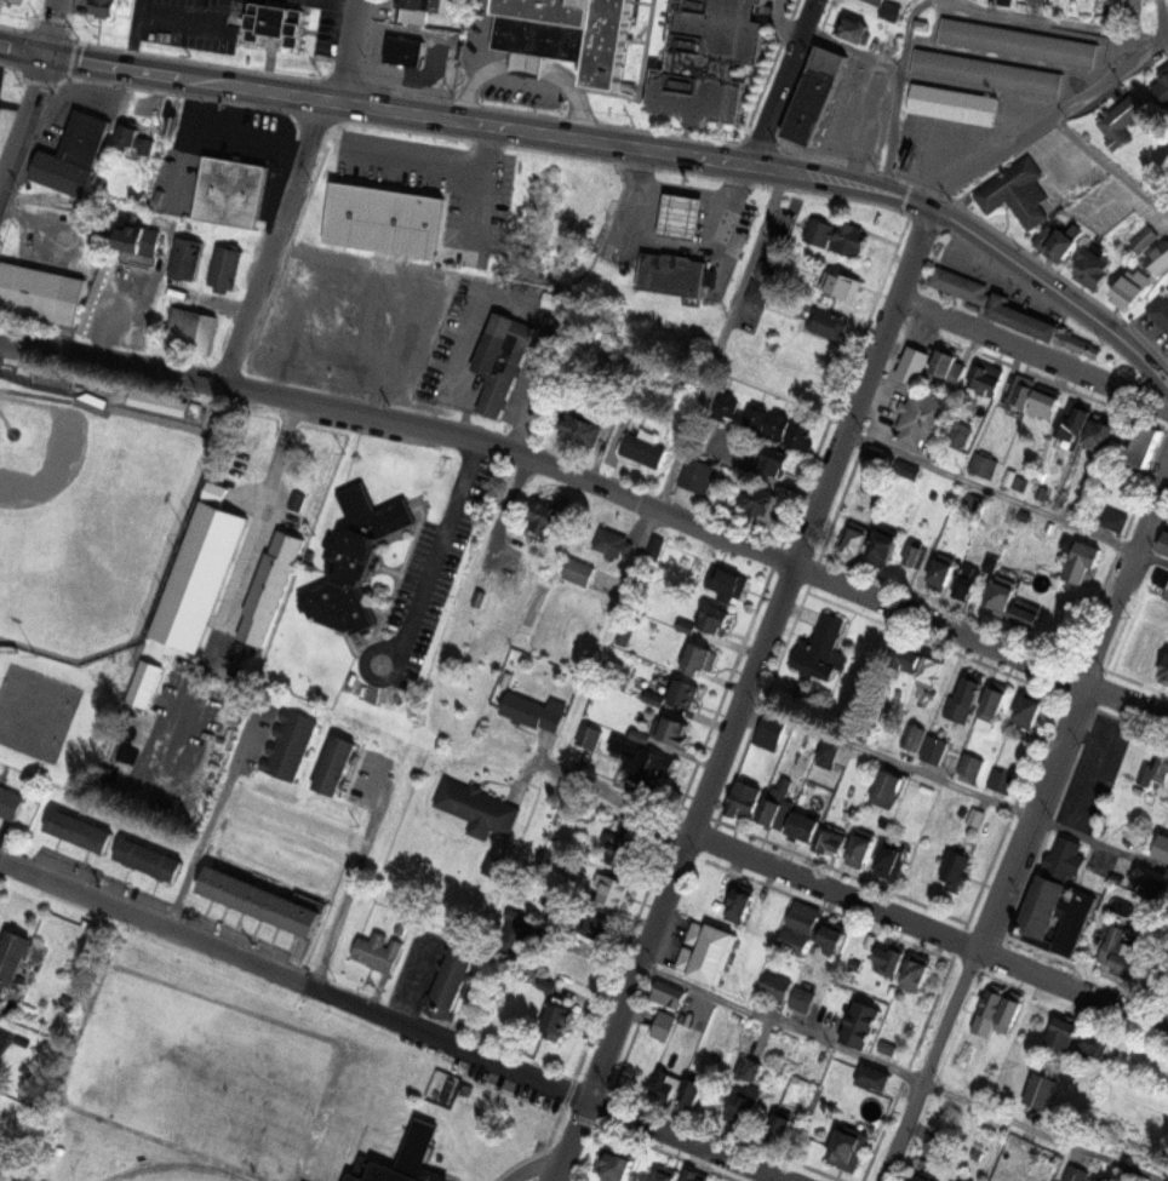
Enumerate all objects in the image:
building: (1044, 0)
parking lot: (12, 1)
building: (878, 1)
road: (935, 2)
road: (949, 2)
building: (1008, 2)
building: (104, 7)
building: (412, 11)
road: (1160, 15)
road: (190, 19)
parking lot: (187, 22)
road: (780, 23)
building: (274, 27)
building: (852, 27)
road: (51, 28)
road: (132, 34)
building: (566, 35)
building: (403, 51)
road: (349, 52)
building: (709, 59)
road: (528, 63)
building: (414, 80)
road: (640, 82)
road: (779, 82)
building: (1162, 86)
building: (818, 96)
building: (952, 104)
building: (0, 108)
building: (0, 110)
road: (23, 120)
road: (1044, 120)
building: (1120, 120)
building: (136, 138)
road: (614, 145)
building: (75, 150)
road: (1107, 166)
road: (641, 185)
building: (1017, 191)
building: (233, 194)
road: (727, 200)
building: (681, 216)
road: (681, 216)
building: (463, 217)
building: (837, 235)
building: (137, 239)
building: (1145, 239)
road: (274, 242)
building: (1057, 242)
building: (184, 259)
building: (224, 268)
building: (1094, 268)
building: (766, 270)
parking lot: (356, 273)
building: (672, 274)
building: (958, 282)
building: (843, 285)
building: (1129, 288)
building: (758, 291)
building: (40, 293)
building: (1161, 310)
building: (1023, 317)
building: (829, 322)
building: (190, 331)
road: (722, 342)
building: (1078, 342)
road: (1032, 352)
building: (502, 357)
building: (943, 361)
building: (915, 363)
building: (984, 378)
building: (1021, 389)
building: (1043, 402)
building: (756, 413)
building: (922, 418)
building: (1073, 420)
building: (778, 423)
building: (582, 425)
building: (800, 434)
building: (1104, 434)
building: (960, 437)
building: (1146, 445)
building: (646, 448)
building: (777, 460)
building: (983, 465)
building: (692, 481)
road: (596, 487)
building: (762, 498)
road: (1006, 498)
building: (543, 515)
building: (1024, 515)
park: (90, 517)
building: (1113, 518)
building: (853, 540)
building: (613, 541)
building: (1166, 543)
building: (886, 544)
park: (81, 546)
building: (356, 554)
building: (914, 555)
road: (434, 557)
building: (1082, 561)
building: (991, 562)
building: (944, 568)
building: (578, 569)
building: (199, 577)
road: (242, 577)
building: (726, 581)
building: (967, 581)
building: (1167, 585)
building: (271, 590)
parking lot: (419, 591)
building: (1003, 592)
building: (1029, 614)
building: (715, 617)
building: (688, 625)
building: (823, 649)
building: (700, 655)
building: (906, 655)
building: (933, 670)
building: (1164, 671)
building: (688, 692)
road: (743, 696)
building: (964, 699)
building: (992, 703)
park: (34, 710)
building: (534, 710)
building: (1029, 711)
building: (675, 729)
building: (769, 732)
building: (590, 734)
building: (911, 734)
road: (1087, 734)
building: (288, 745)
building: (933, 747)
building: (830, 751)
building: (649, 764)
building: (334, 766)
building: (971, 766)
building: (1162, 767)
road: (1095, 770)
parking lot: (1093, 772)
building: (1143, 778)
building: (1001, 780)
road: (955, 785)
building: (889, 786)
road: (612, 796)
building: (744, 799)
building: (8, 803)
building: (476, 807)
building: (769, 810)
building: (975, 815)
road: (210, 819)
building: (803, 826)
road: (1029, 826)
building: (80, 830)
building: (831, 838)
building: (1138, 841)
building: (861, 844)
building: (623, 848)
building: (1162, 848)
building: (892, 858)
building: (149, 859)
building: (1065, 859)
building: (493, 865)
building: (955, 866)
road: (354, 873)
building: (611, 888)
building: (1156, 888)
building: (260, 900)
building: (740, 901)
building: (1044, 910)
building: (803, 917)
building: (590, 921)
building: (1077, 921)
road: (928, 930)
building: (509, 934)
building: (830, 935)
building: (792, 940)
building: (376, 951)
building: (708, 951)
building: (1121, 952)
building: (13, 957)
building: (891, 959)
building: (916, 973)
road: (293, 979)
building: (452, 980)
building: (775, 986)
building: (670, 993)
building: (802, 999)
building: (990, 1010)
building: (1009, 1014)
building: (554, 1020)
building: (664, 1025)
building: (861, 1025)
building: (1065, 1032)
building: (1100, 1044)
building: (888, 1047)
park: (210, 1062)
building: (749, 1066)
road: (898, 1072)
building: (875, 1076)
building: (664, 1078)
building: (693, 1089)
building: (1042, 1090)
building: (743, 1105)
building: (781, 1125)
road: (683, 1141)
building: (848, 1146)
building: (412, 1158)
building: (614, 1163)
road: (533, 1168)
park: (176, 1173)
building: (1076, 1174)
building: (664, 1175)
building: (692, 1176)
building: (924, 1177)
building: (961, 1179)

